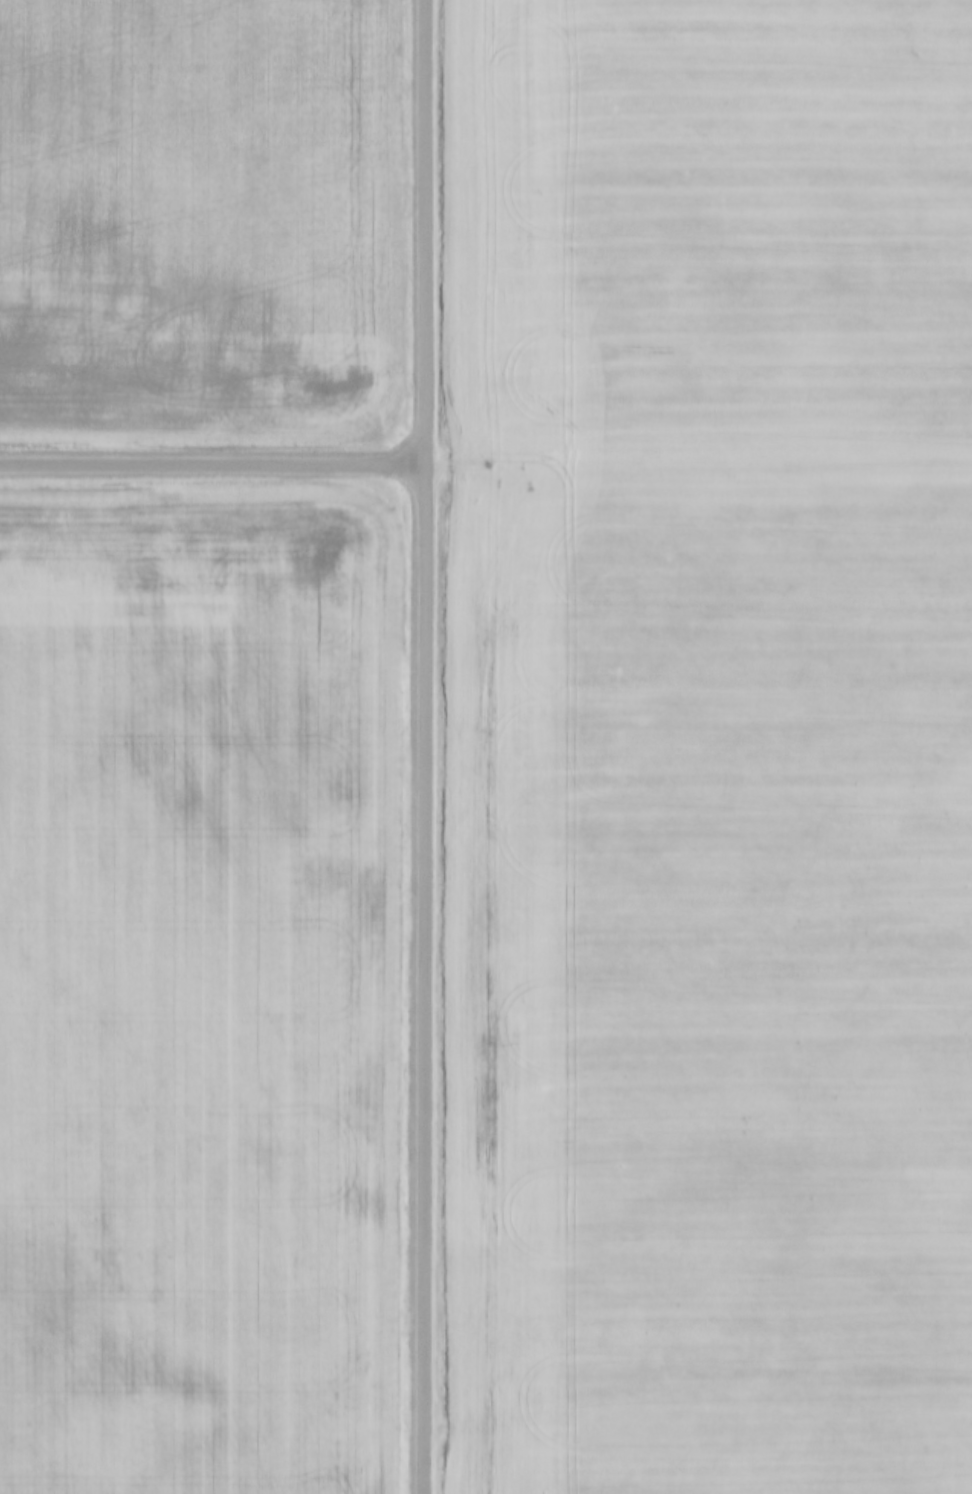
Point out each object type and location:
road: (214, 461)
road: (429, 746)

